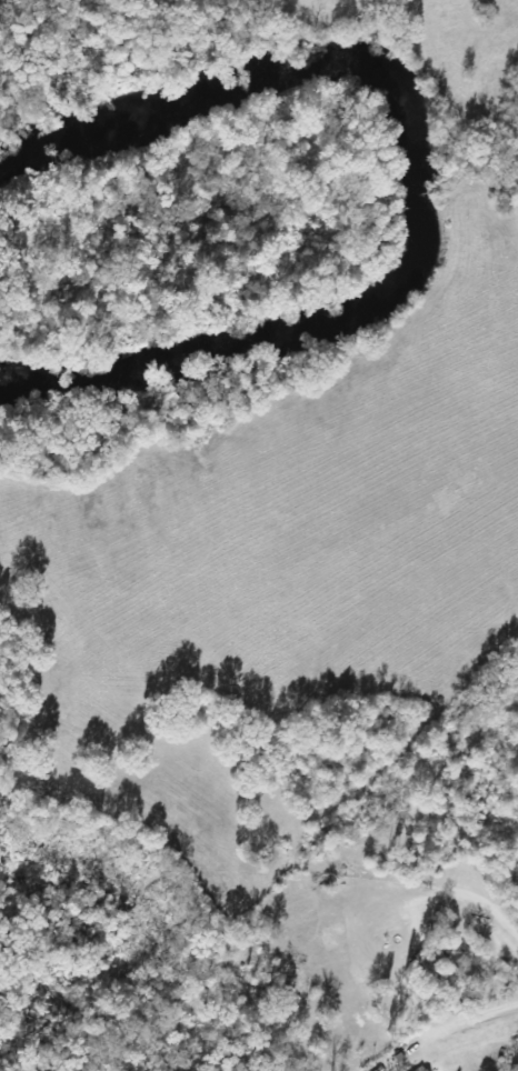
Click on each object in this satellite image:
road: (508, 923)
building: (428, 968)
building: (419, 1069)

